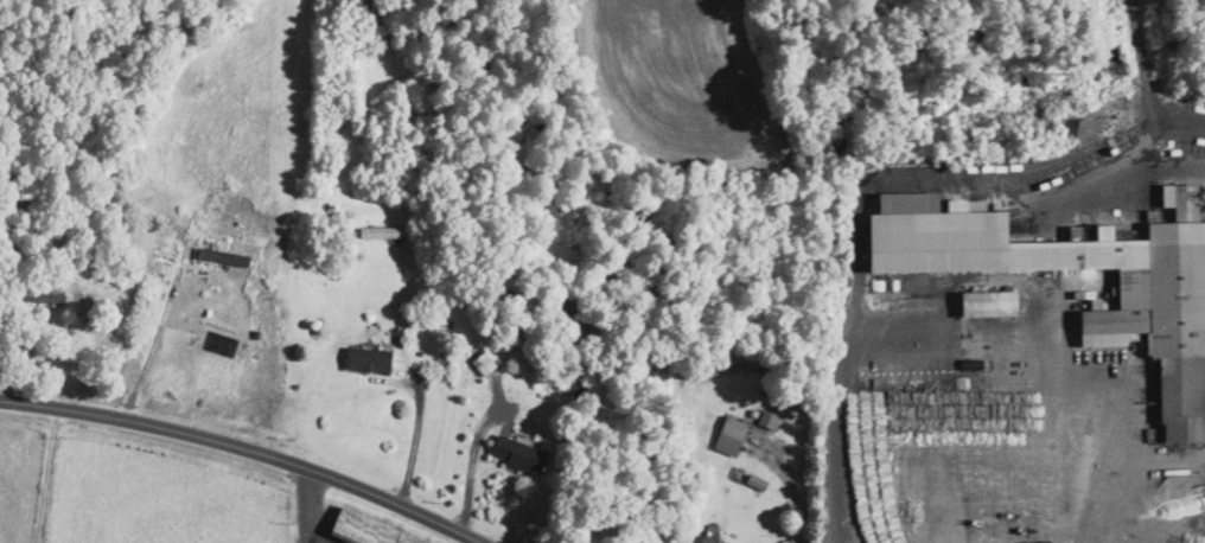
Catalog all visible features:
road: (865, 191)
building: (221, 255)
building: (37, 295)
building: (987, 302)
building: (1141, 317)
road: (85, 352)
building: (366, 358)
building: (728, 435)
road: (414, 445)
road: (247, 449)
building: (516, 454)
road: (470, 472)
road: (1127, 477)
building: (754, 480)
road: (791, 486)
road: (312, 506)
building: (709, 535)

